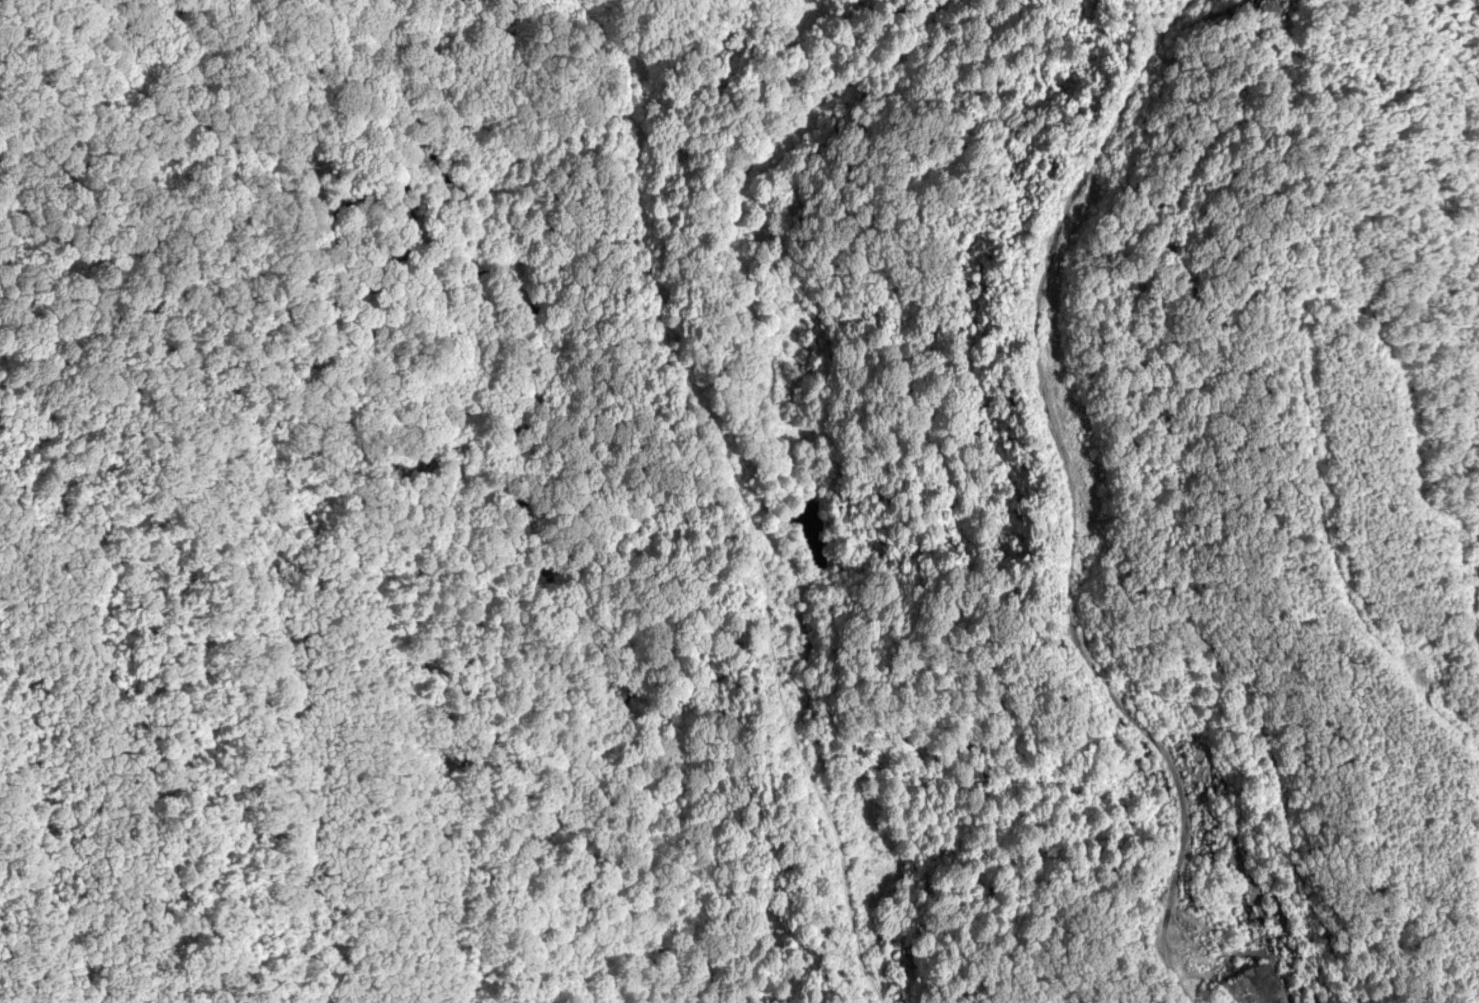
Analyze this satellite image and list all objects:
road: (1455, 15)
road: (451, 449)
road: (1065, 510)

